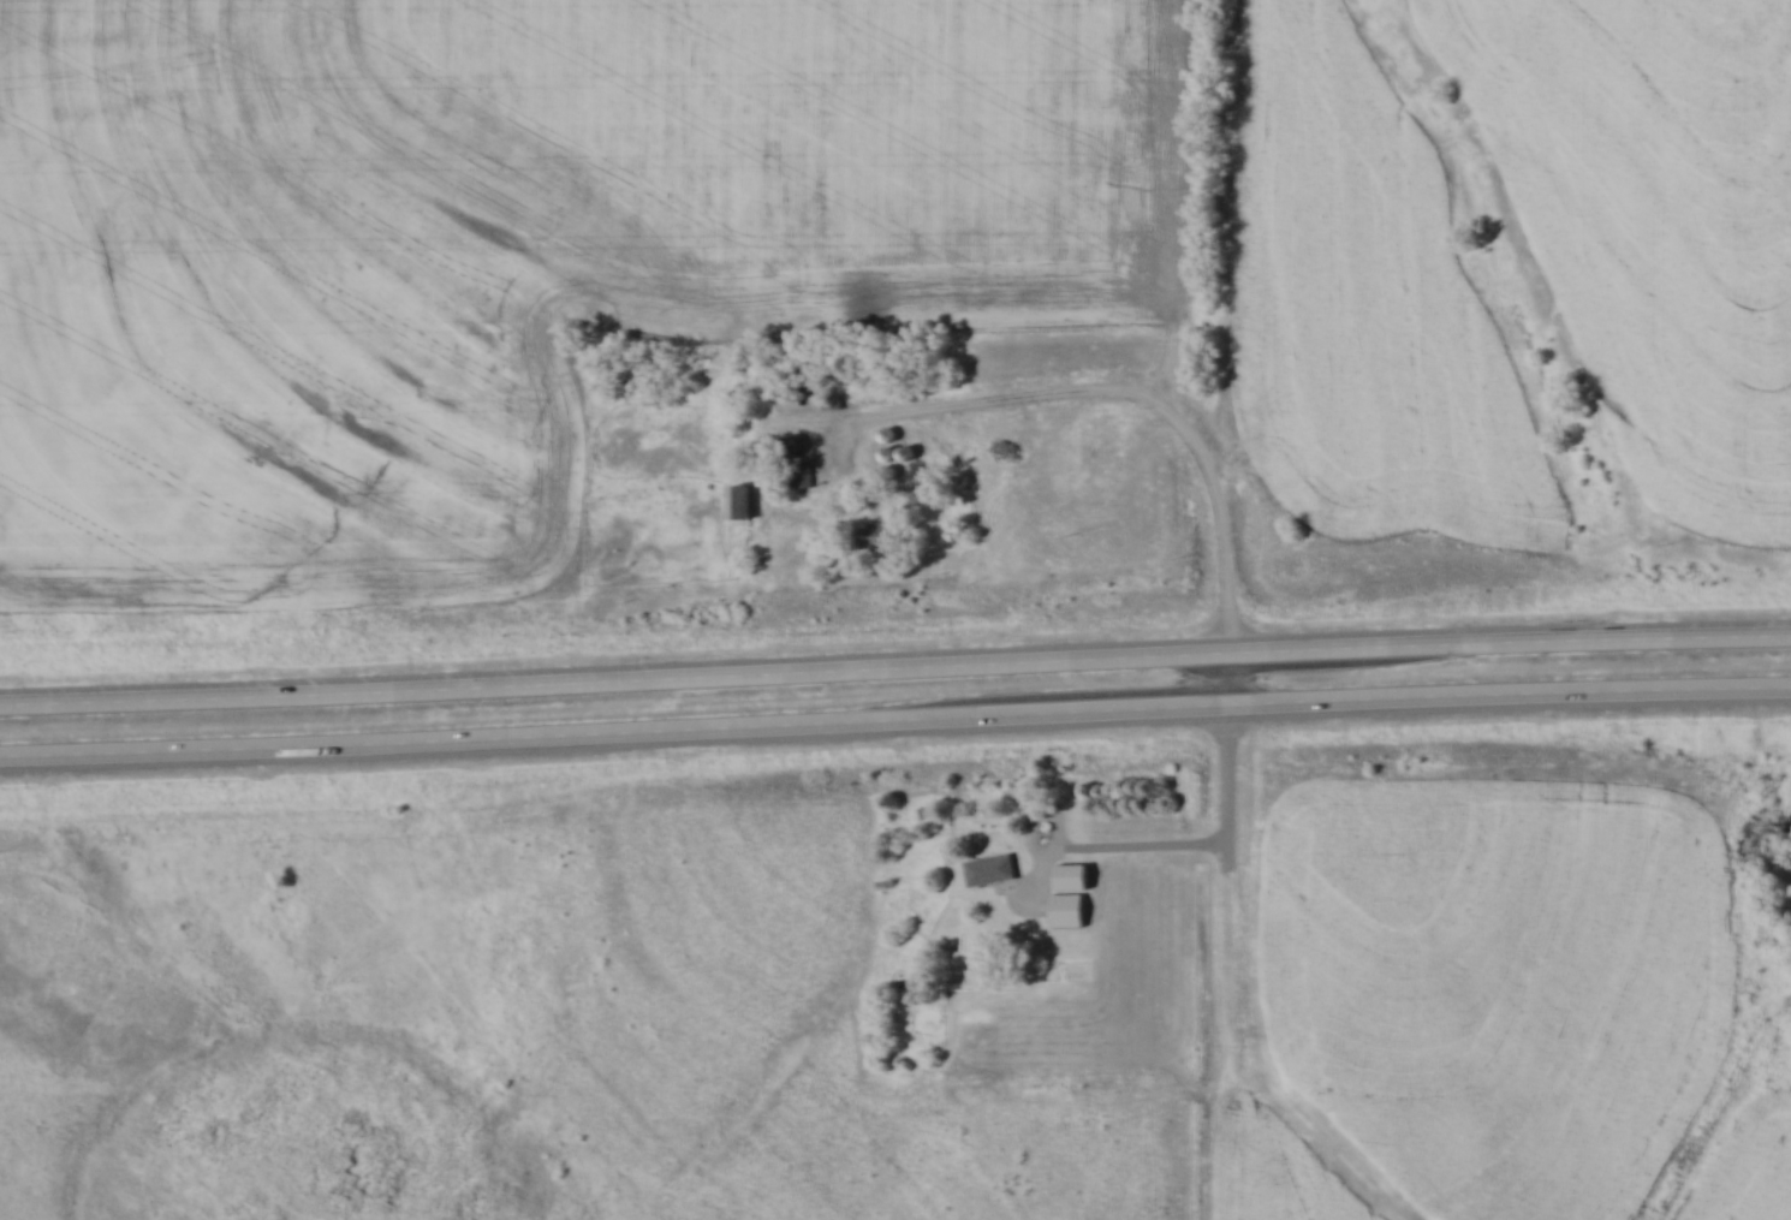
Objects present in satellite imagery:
building: (795, 446)
building: (740, 501)
building: (870, 536)
road: (1218, 544)
road: (894, 672)
road: (894, 725)
building: (989, 869)
building: (1071, 876)
building: (1067, 910)

